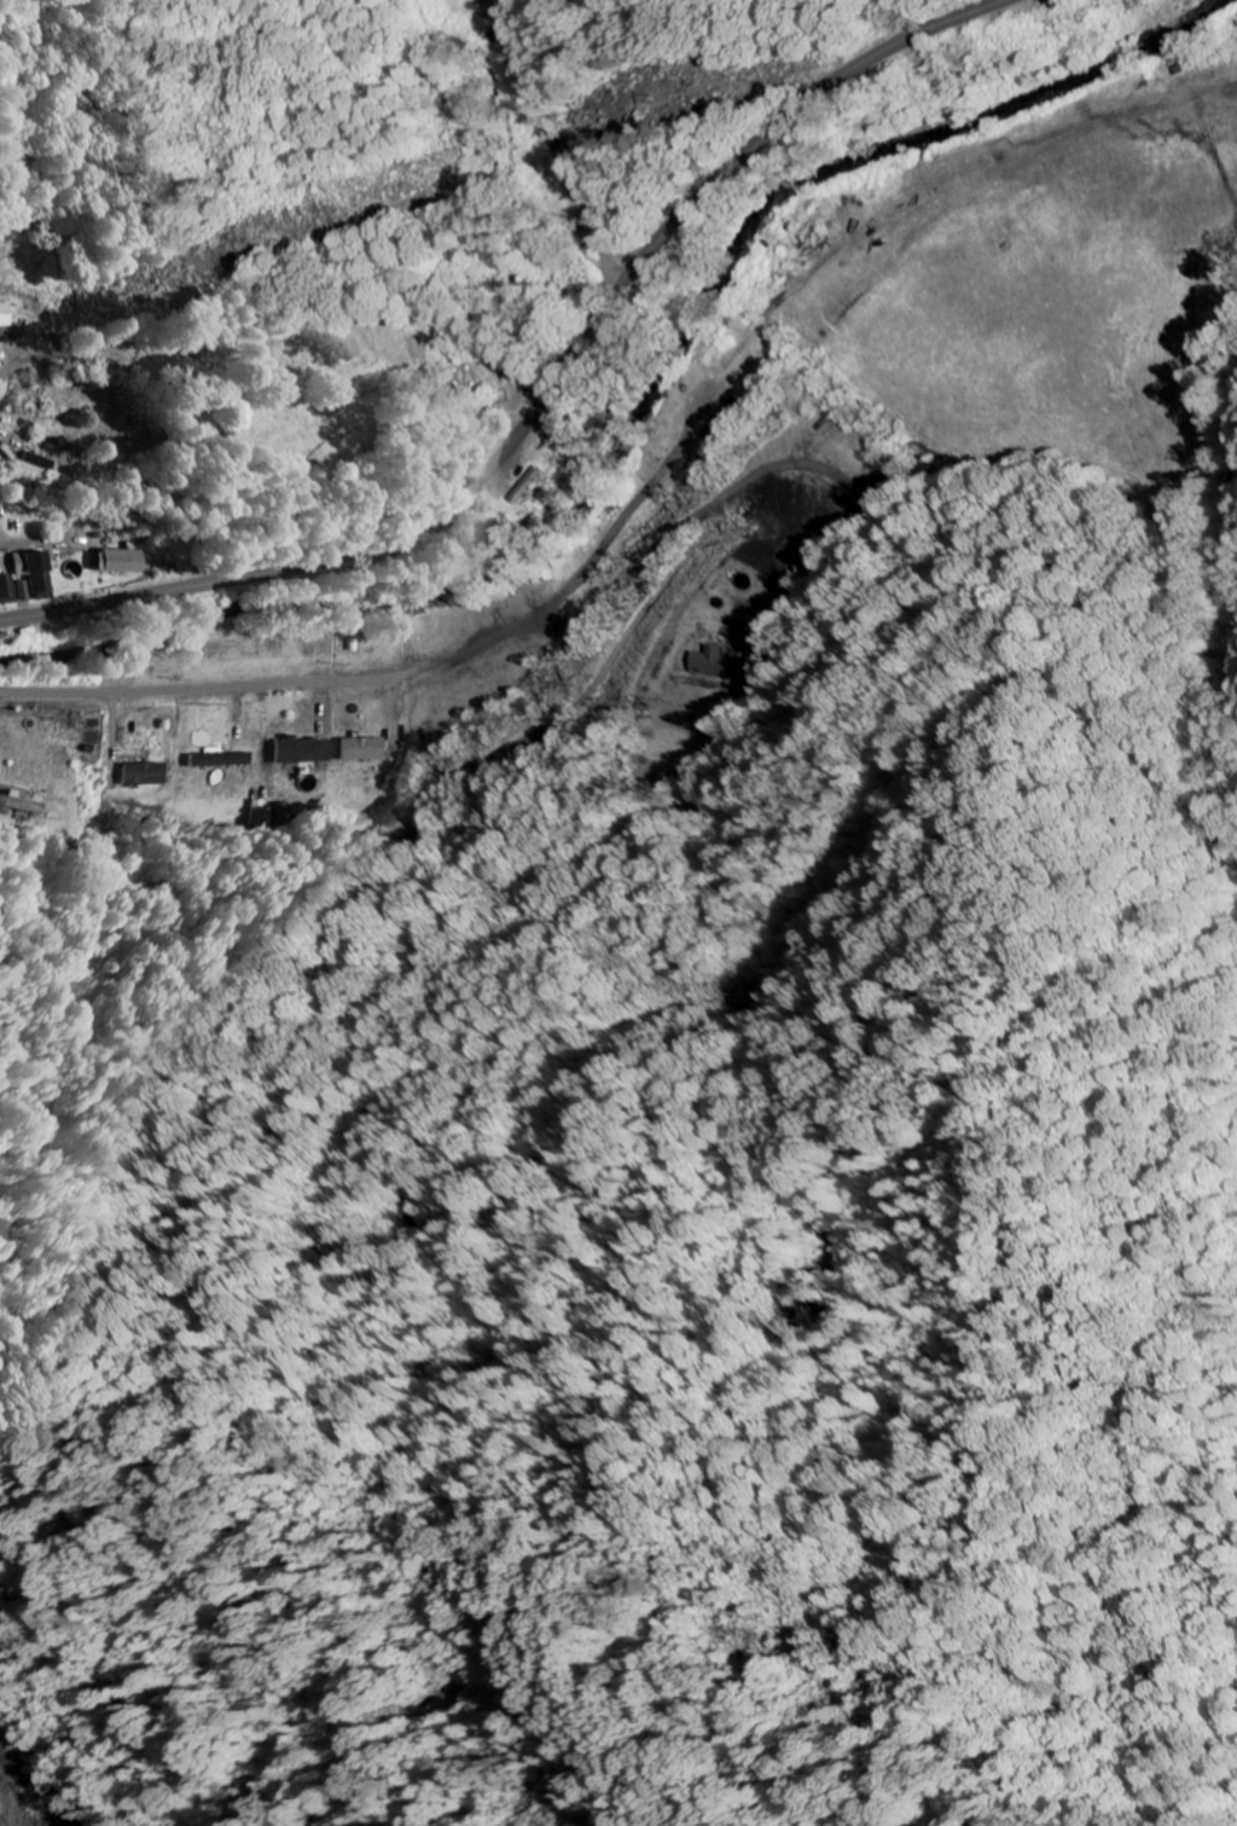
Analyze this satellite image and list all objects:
building: (4, 315)
road: (48, 358)
park: (368, 383)
road: (550, 400)
building: (722, 416)
building: (530, 485)
road: (17, 543)
building: (123, 561)
building: (37, 570)
building: (7, 587)
building: (724, 666)
road: (271, 684)
building: (370, 748)
building: (309, 750)
building: (228, 759)
building: (153, 773)

